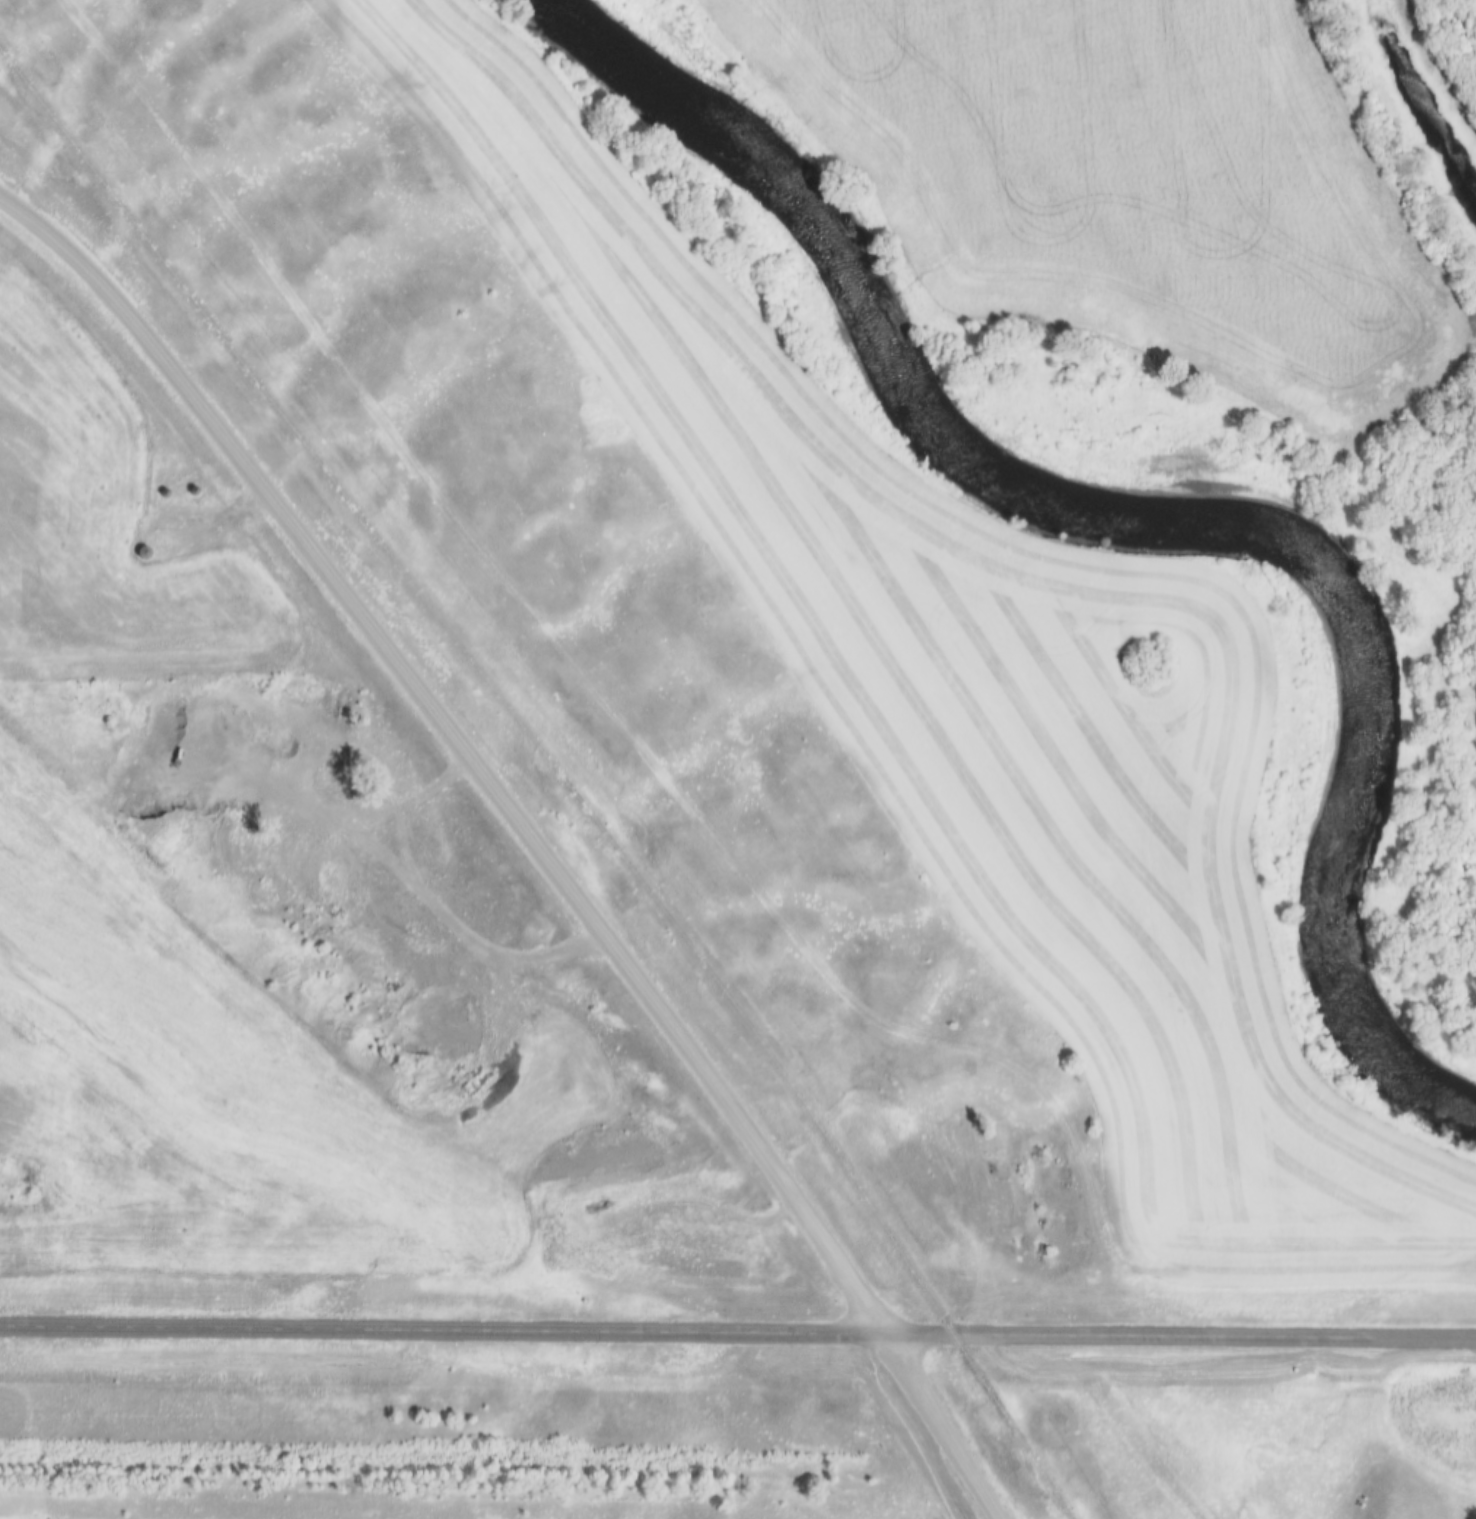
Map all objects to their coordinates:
river: (1147, 504)
road: (457, 749)
railway: (614, 766)
quarry: (329, 863)
road: (738, 1331)
road: (939, 1425)

